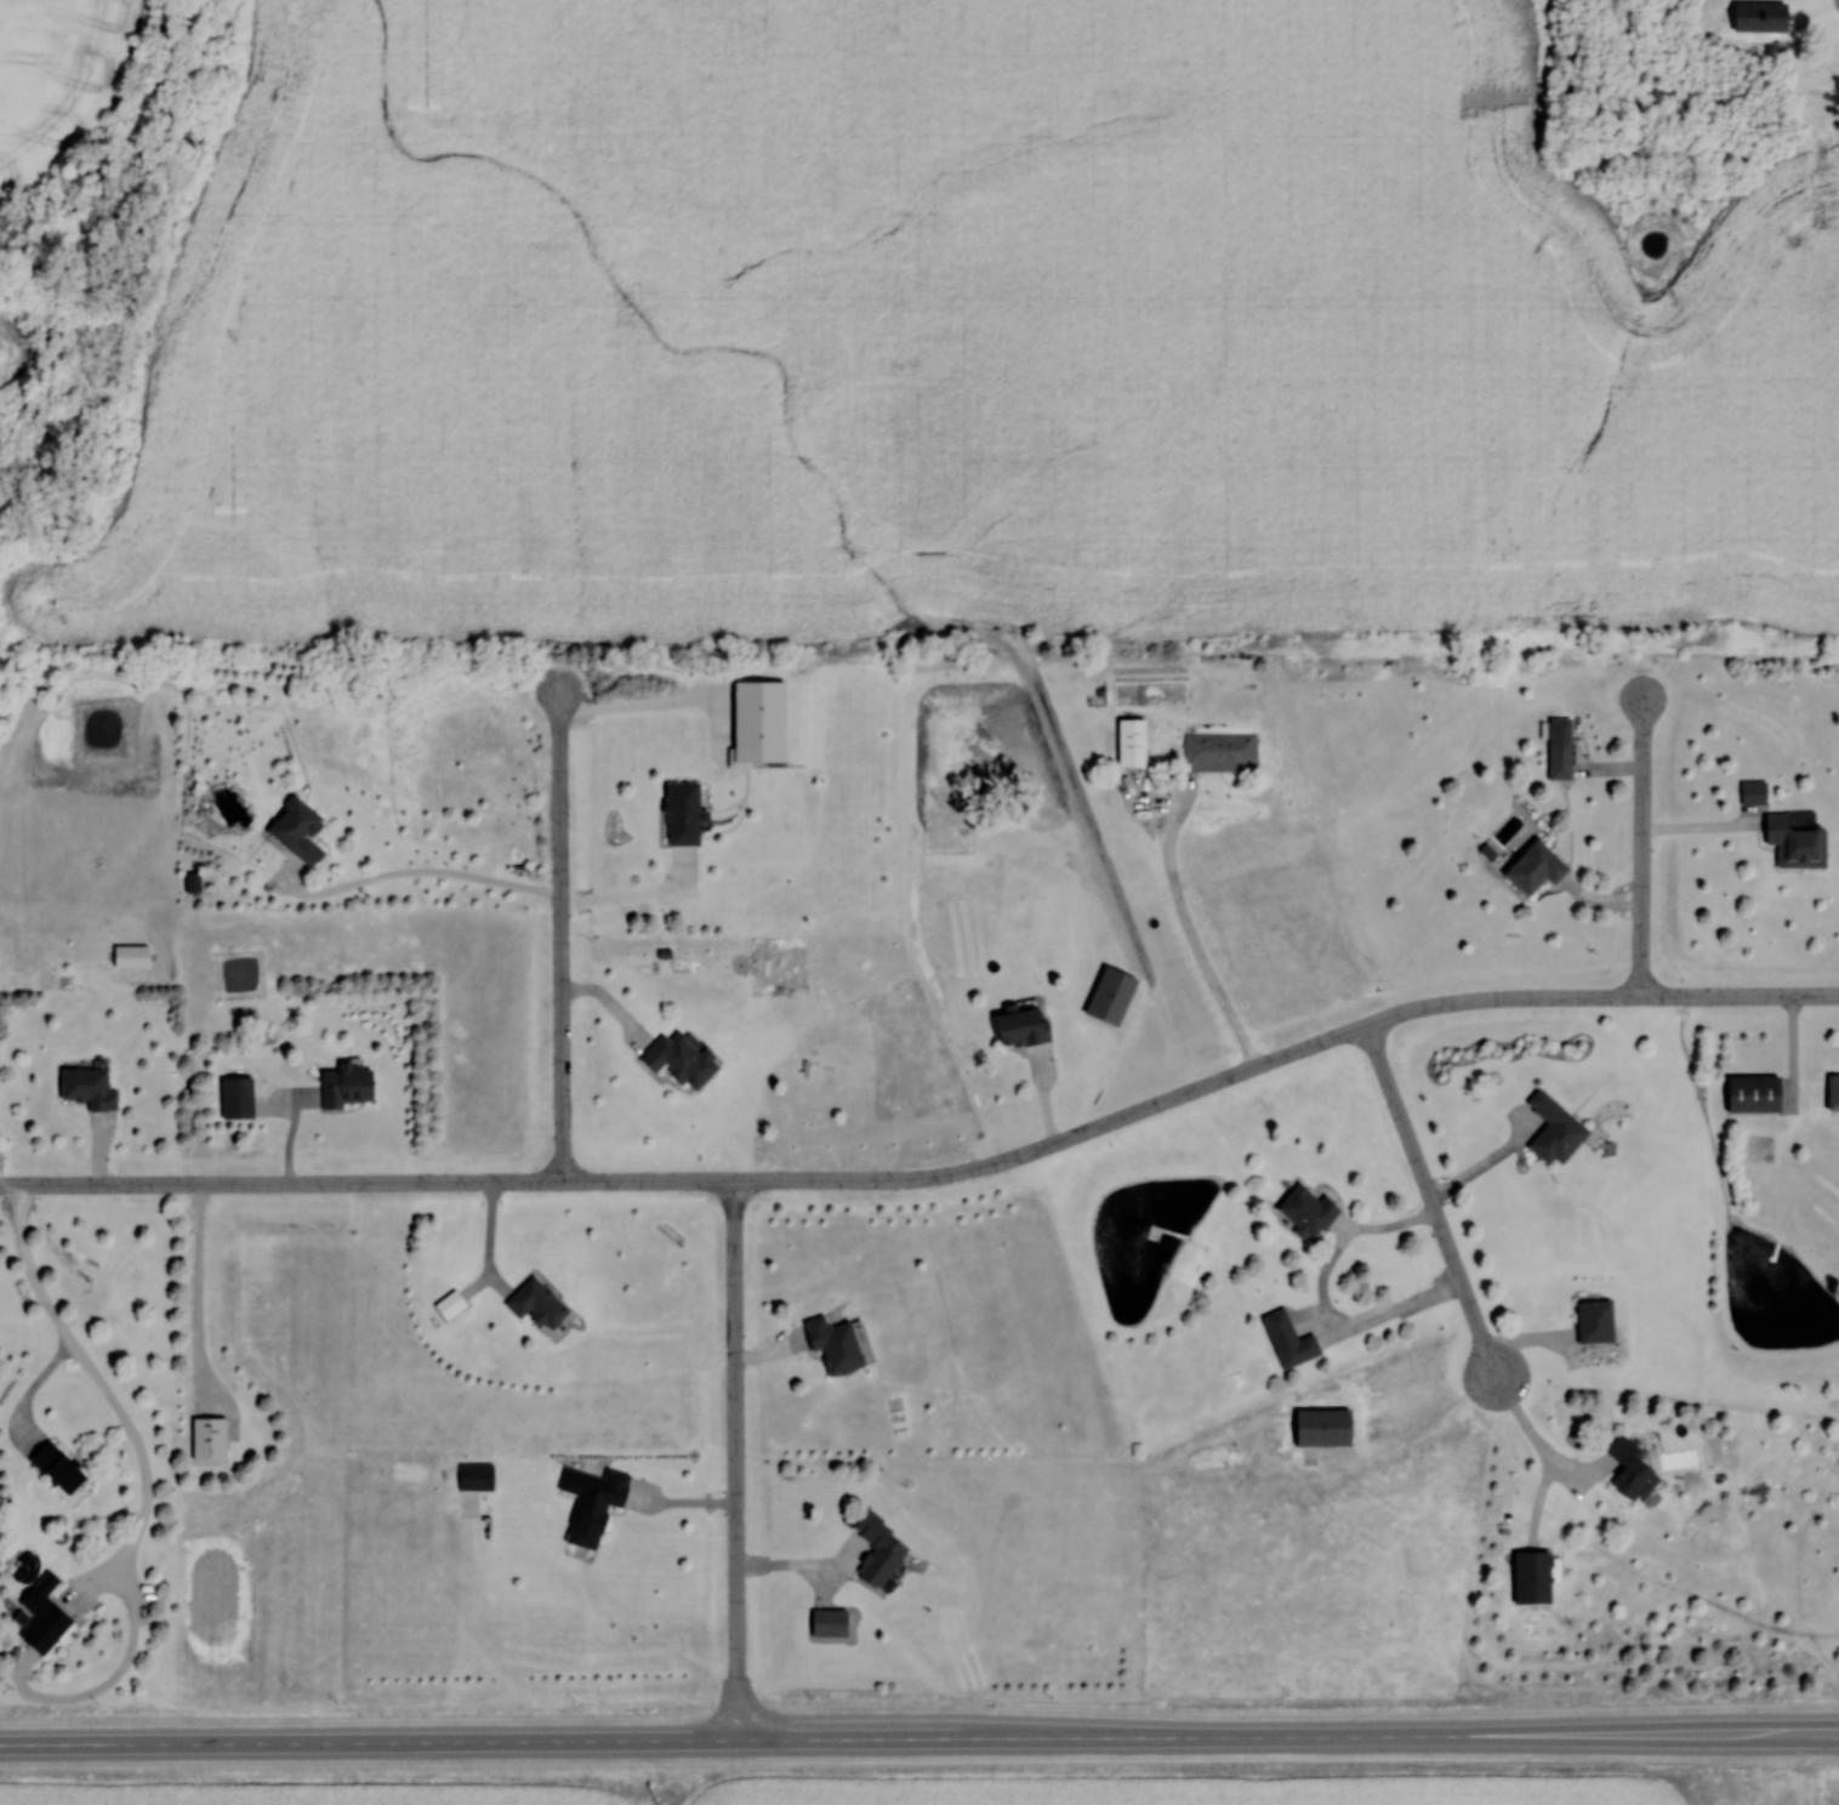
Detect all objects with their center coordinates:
building: (1758, 16)
building: (1129, 742)
building: (1220, 750)
building: (1558, 758)
building: (1752, 792)
building: (681, 814)
building: (296, 830)
building: (1794, 842)
road: (1641, 848)
building: (1533, 867)
road: (420, 872)
road: (562, 934)
building: (129, 956)
building: (1110, 997)
building: (1018, 1027)
building: (679, 1059)
building: (345, 1086)
building: (86, 1088)
building: (1832, 1092)
building: (1752, 1094)
building: (234, 1098)
building: (1553, 1129)
road: (934, 1175)
road: (1431, 1202)
building: (1305, 1211)
road: (198, 1283)
building: (534, 1304)
building: (1593, 1322)
building: (1288, 1340)
building: (832, 1344)
road: (35, 1389)
road: (107, 1390)
building: (1320, 1428)
building: (206, 1440)
road: (1538, 1440)
road: (736, 1460)
building: (53, 1469)
building: (1628, 1470)
building: (473, 1476)
building: (593, 1505)
building: (877, 1549)
road: (822, 1565)
building: (1530, 1578)
building: (41, 1615)
building: (826, 1623)
road: (918, 1739)

